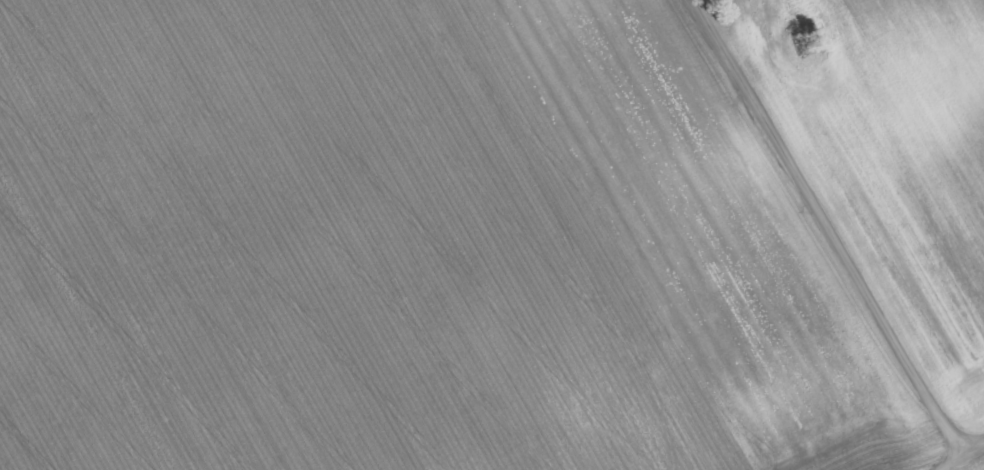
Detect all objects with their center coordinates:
road: (831, 226)
road: (958, 455)

